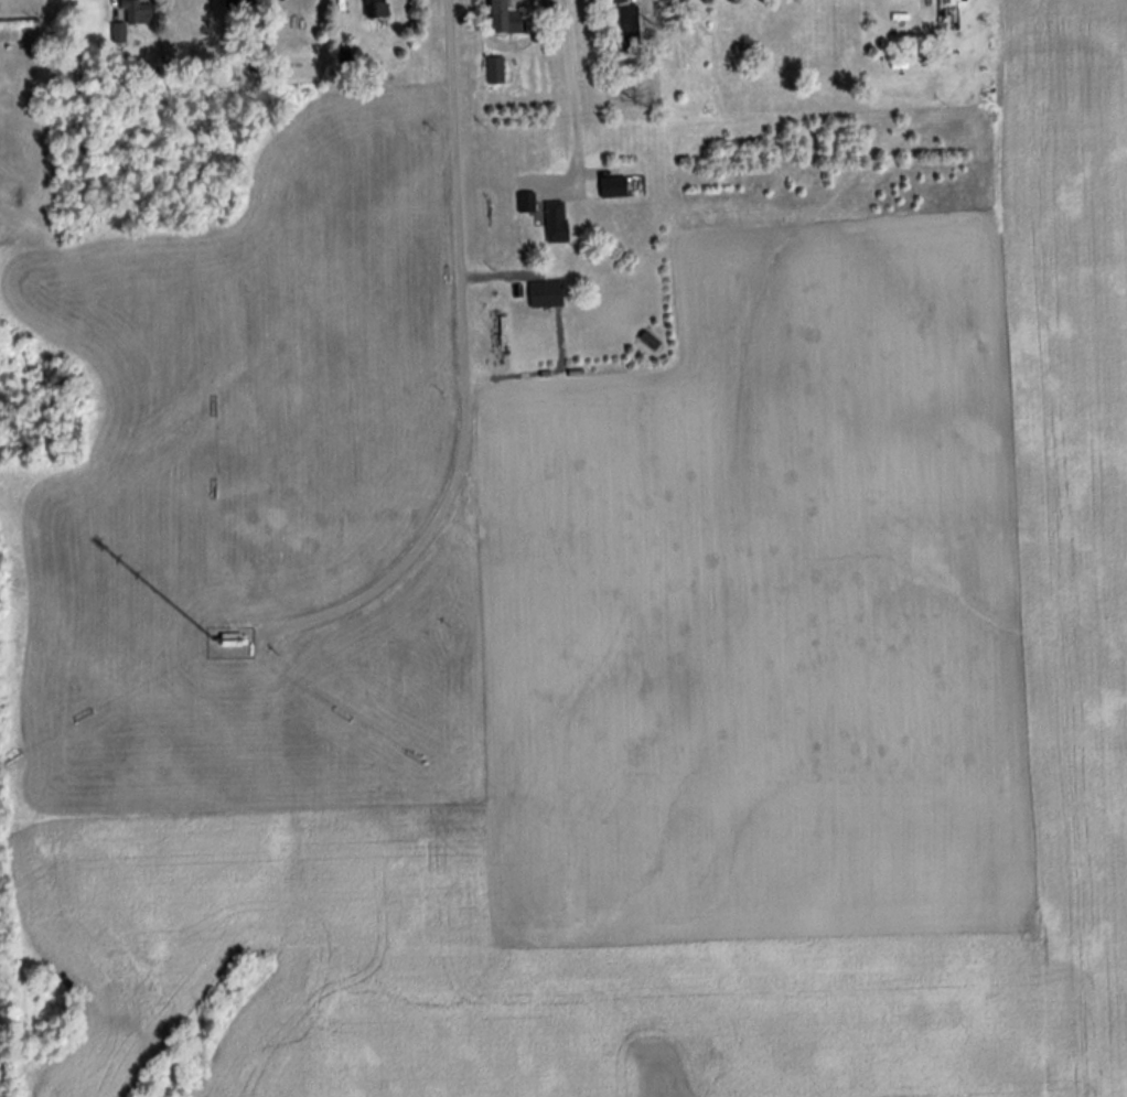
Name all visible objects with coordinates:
building: (956, 1)
building: (241, 6)
building: (378, 9)
building: (135, 19)
building: (507, 19)
building: (631, 30)
building: (20, 32)
building: (619, 187)
building: (558, 223)
building: (548, 295)

